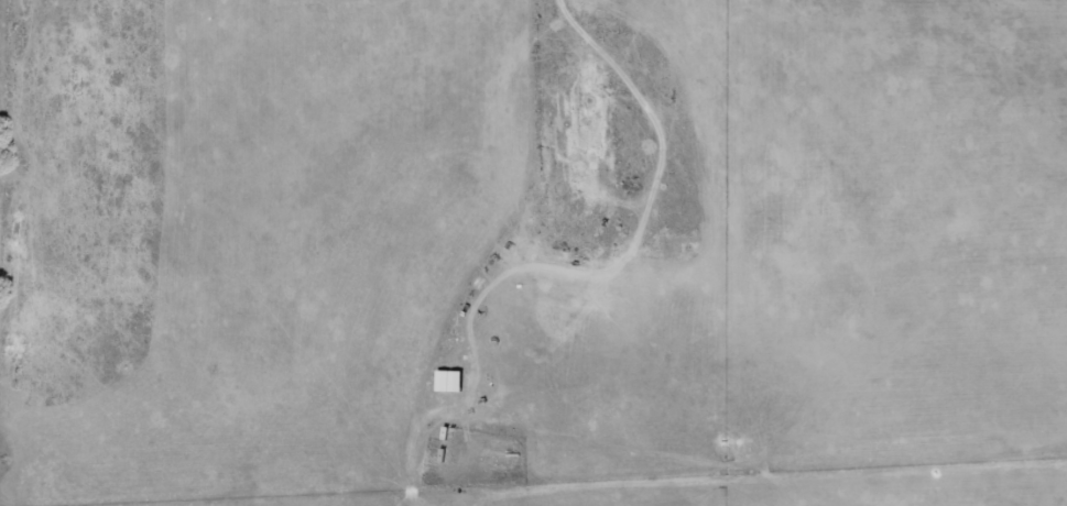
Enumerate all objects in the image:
road: (515, 253)
building: (450, 380)

